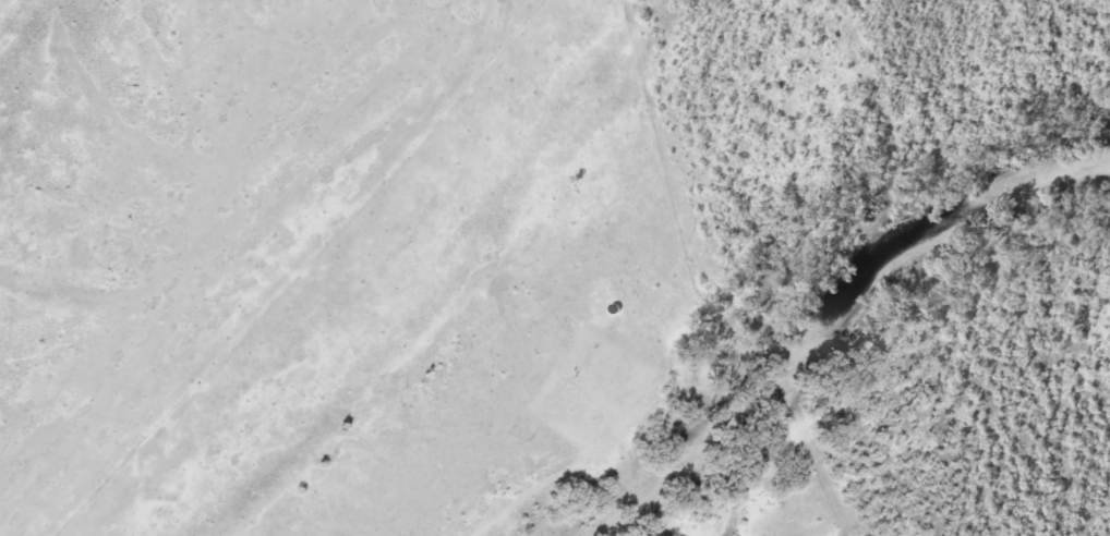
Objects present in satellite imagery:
river: (837, 304)

